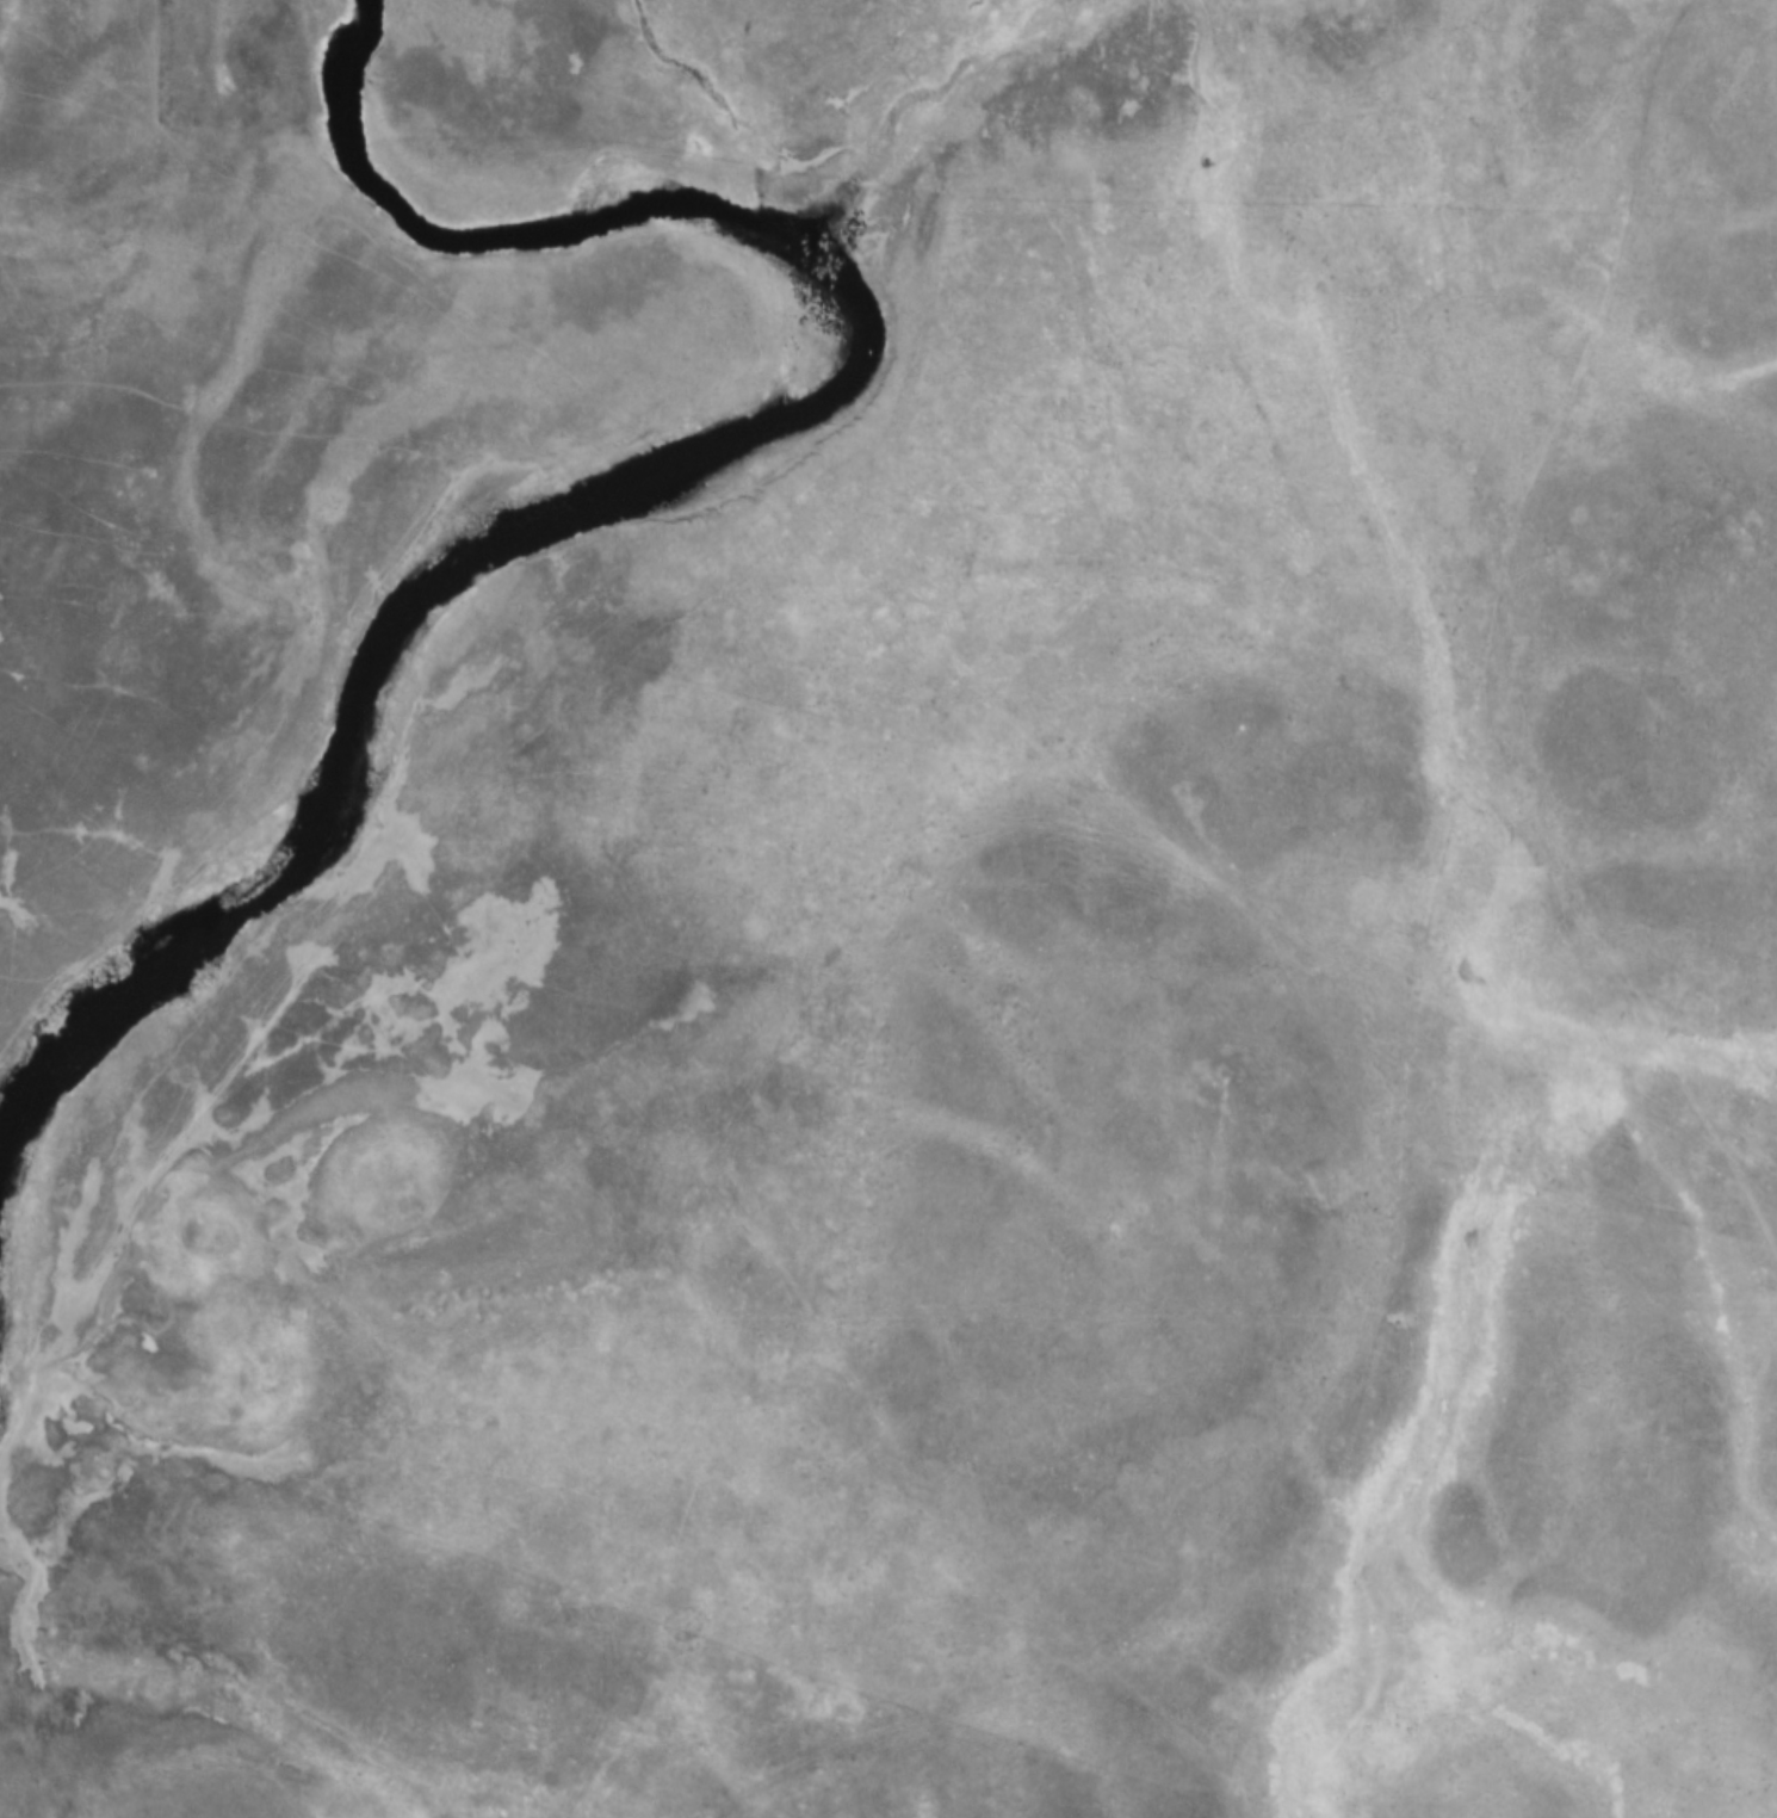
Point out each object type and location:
road: (1542, 471)

